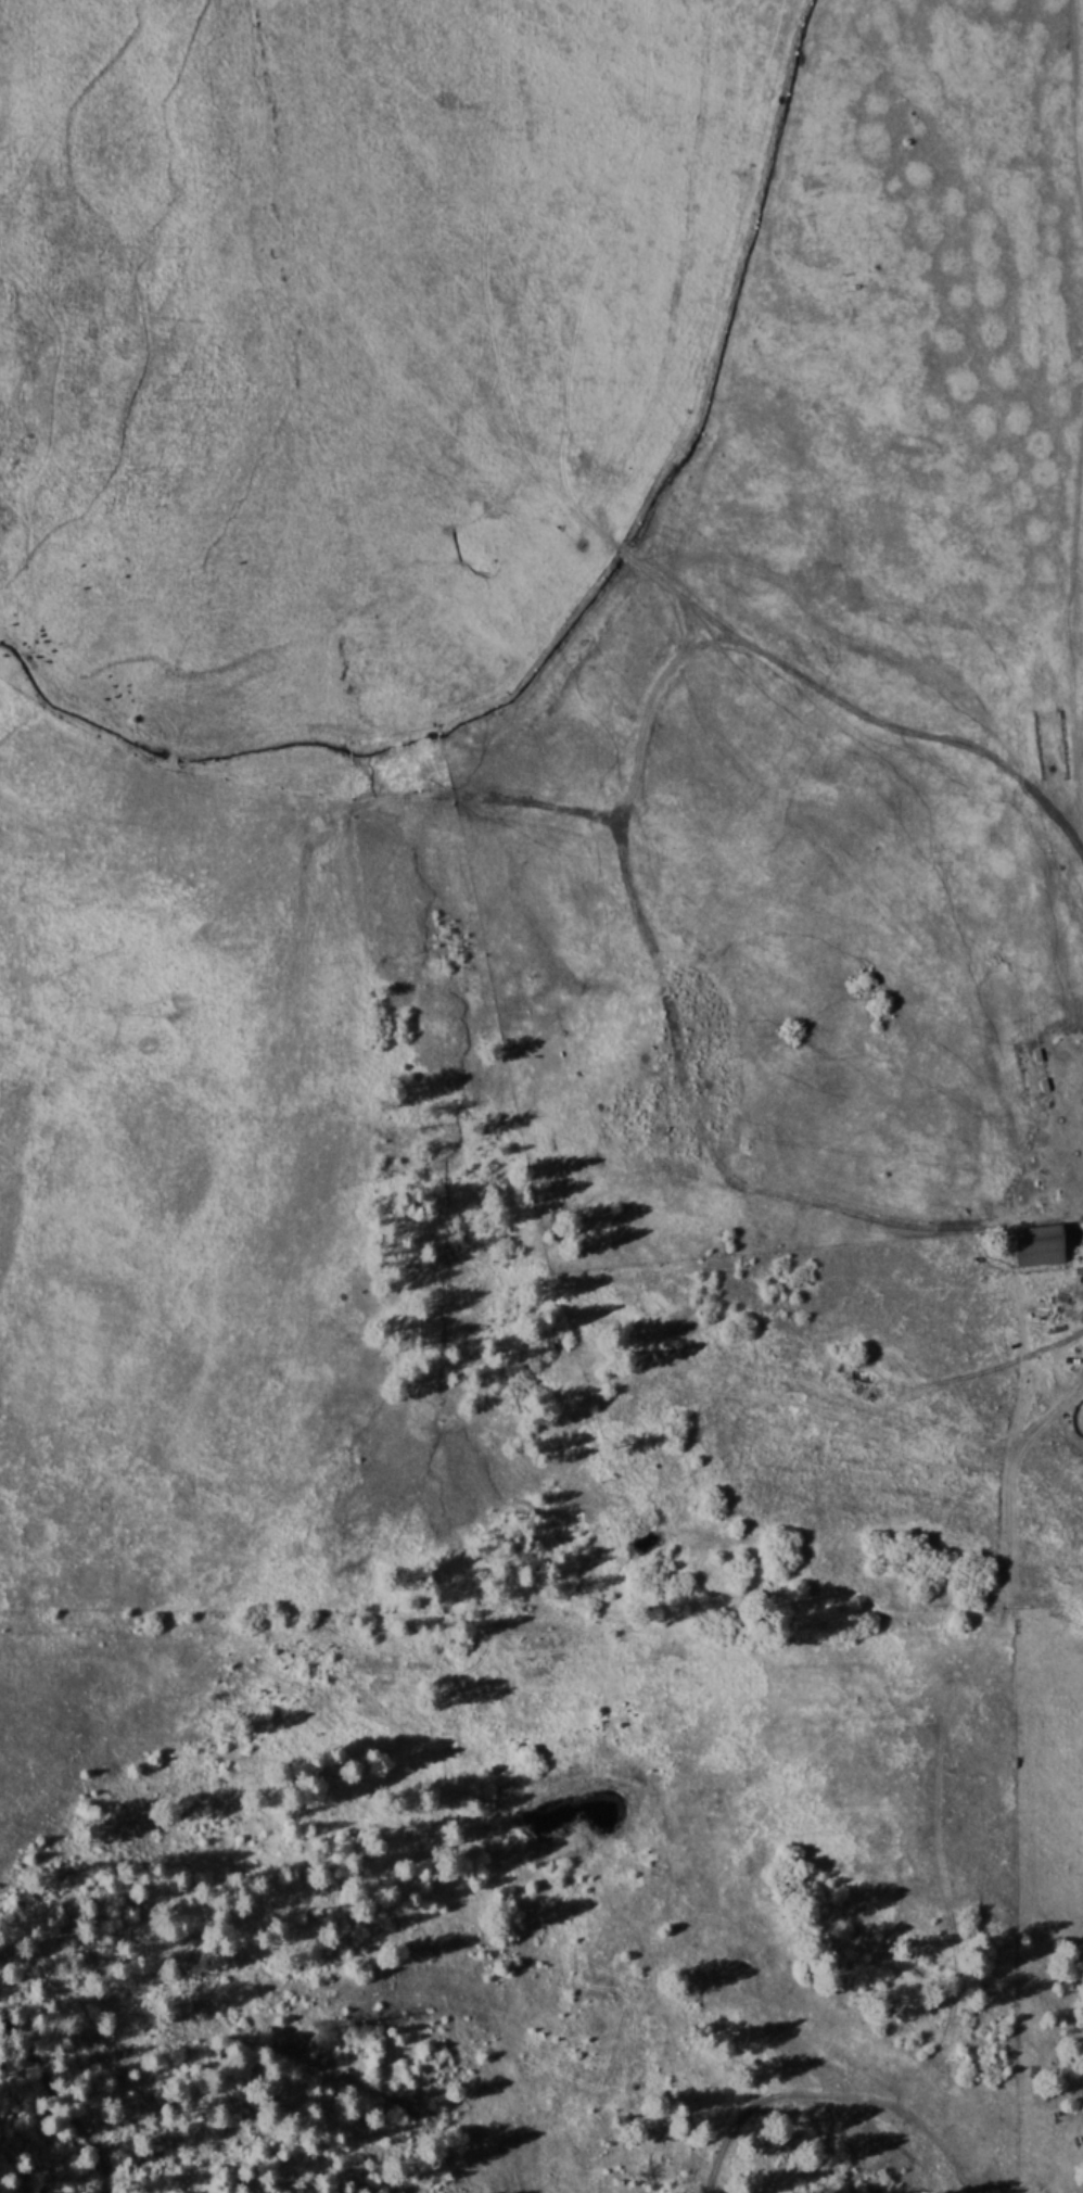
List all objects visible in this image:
building: (1046, 749)
building: (1032, 1243)

